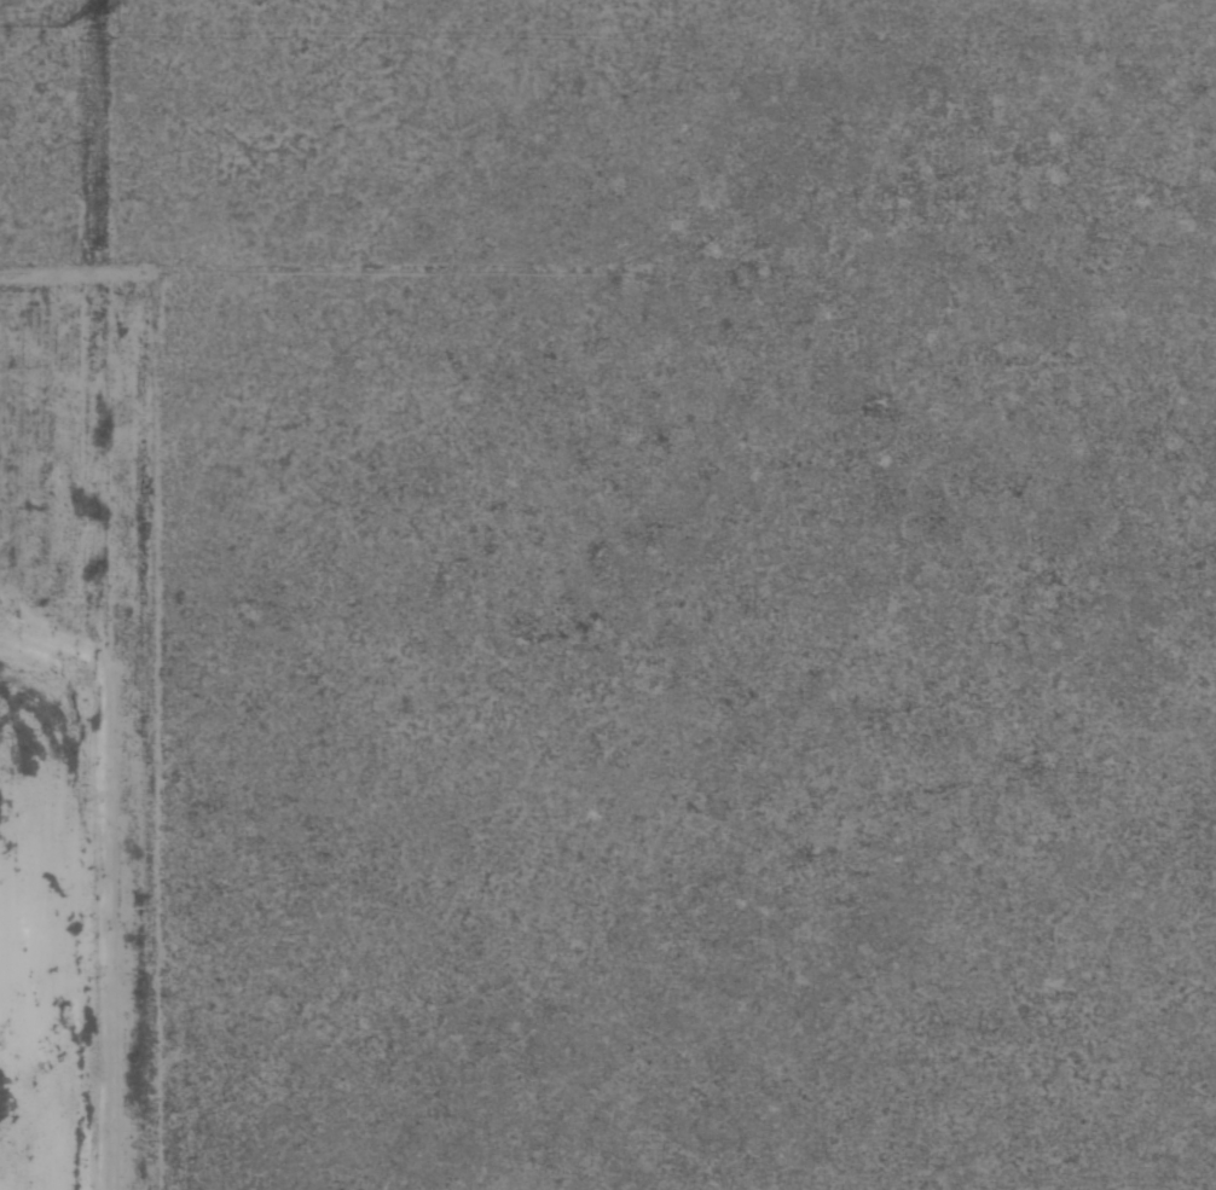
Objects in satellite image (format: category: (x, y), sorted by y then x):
airport: (92, 10)

